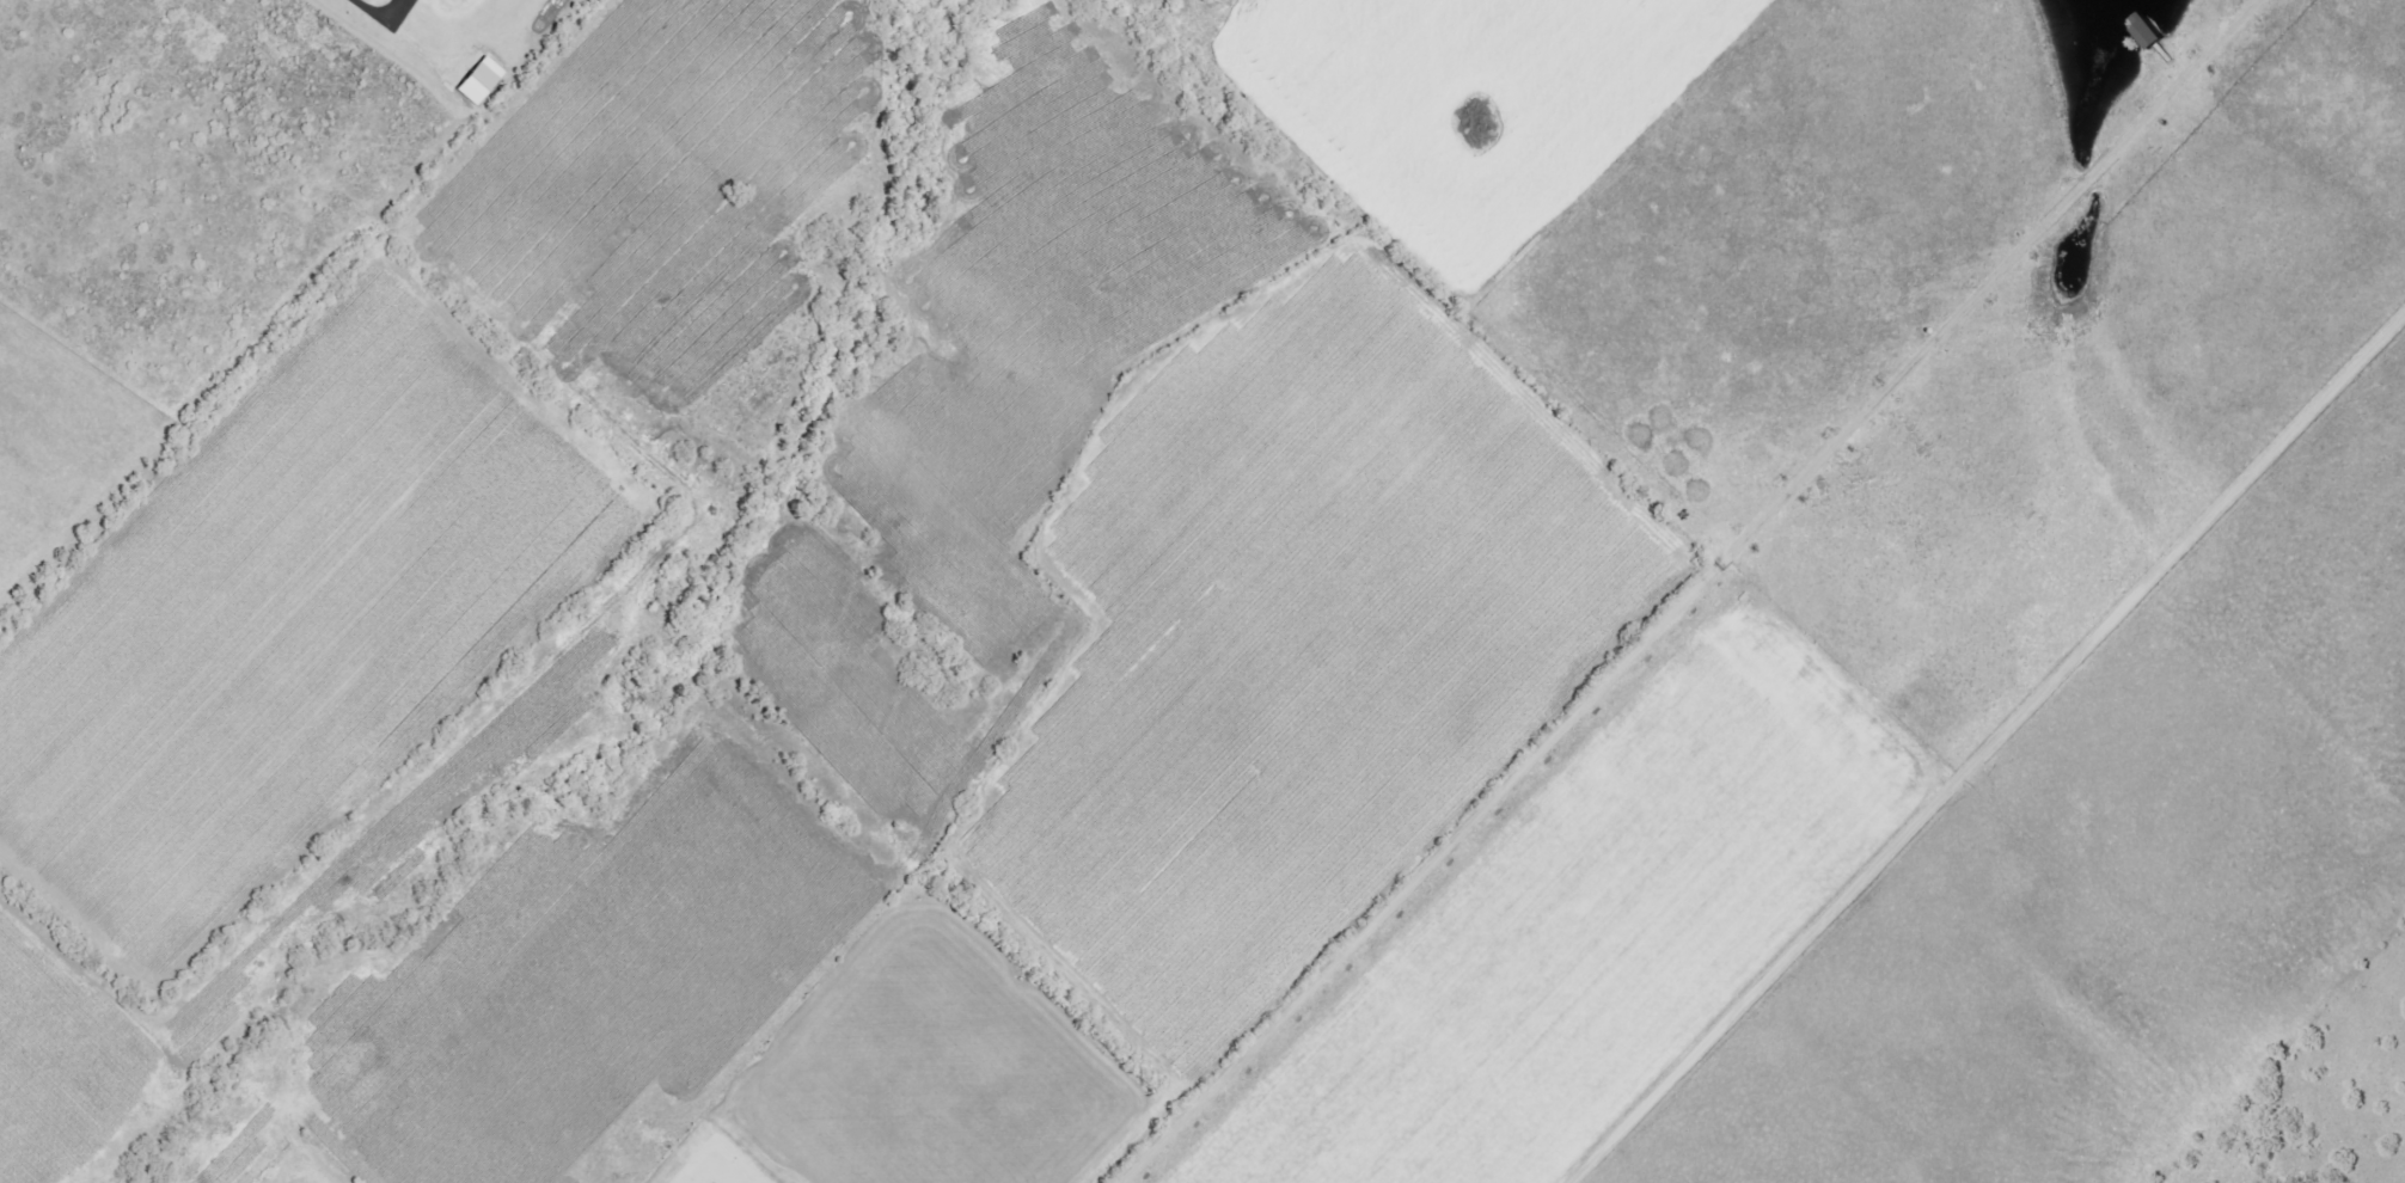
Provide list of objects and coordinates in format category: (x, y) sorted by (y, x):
road: (377, 16)
building: (2146, 30)
building: (478, 80)
road: (1708, 591)
road: (1994, 755)

